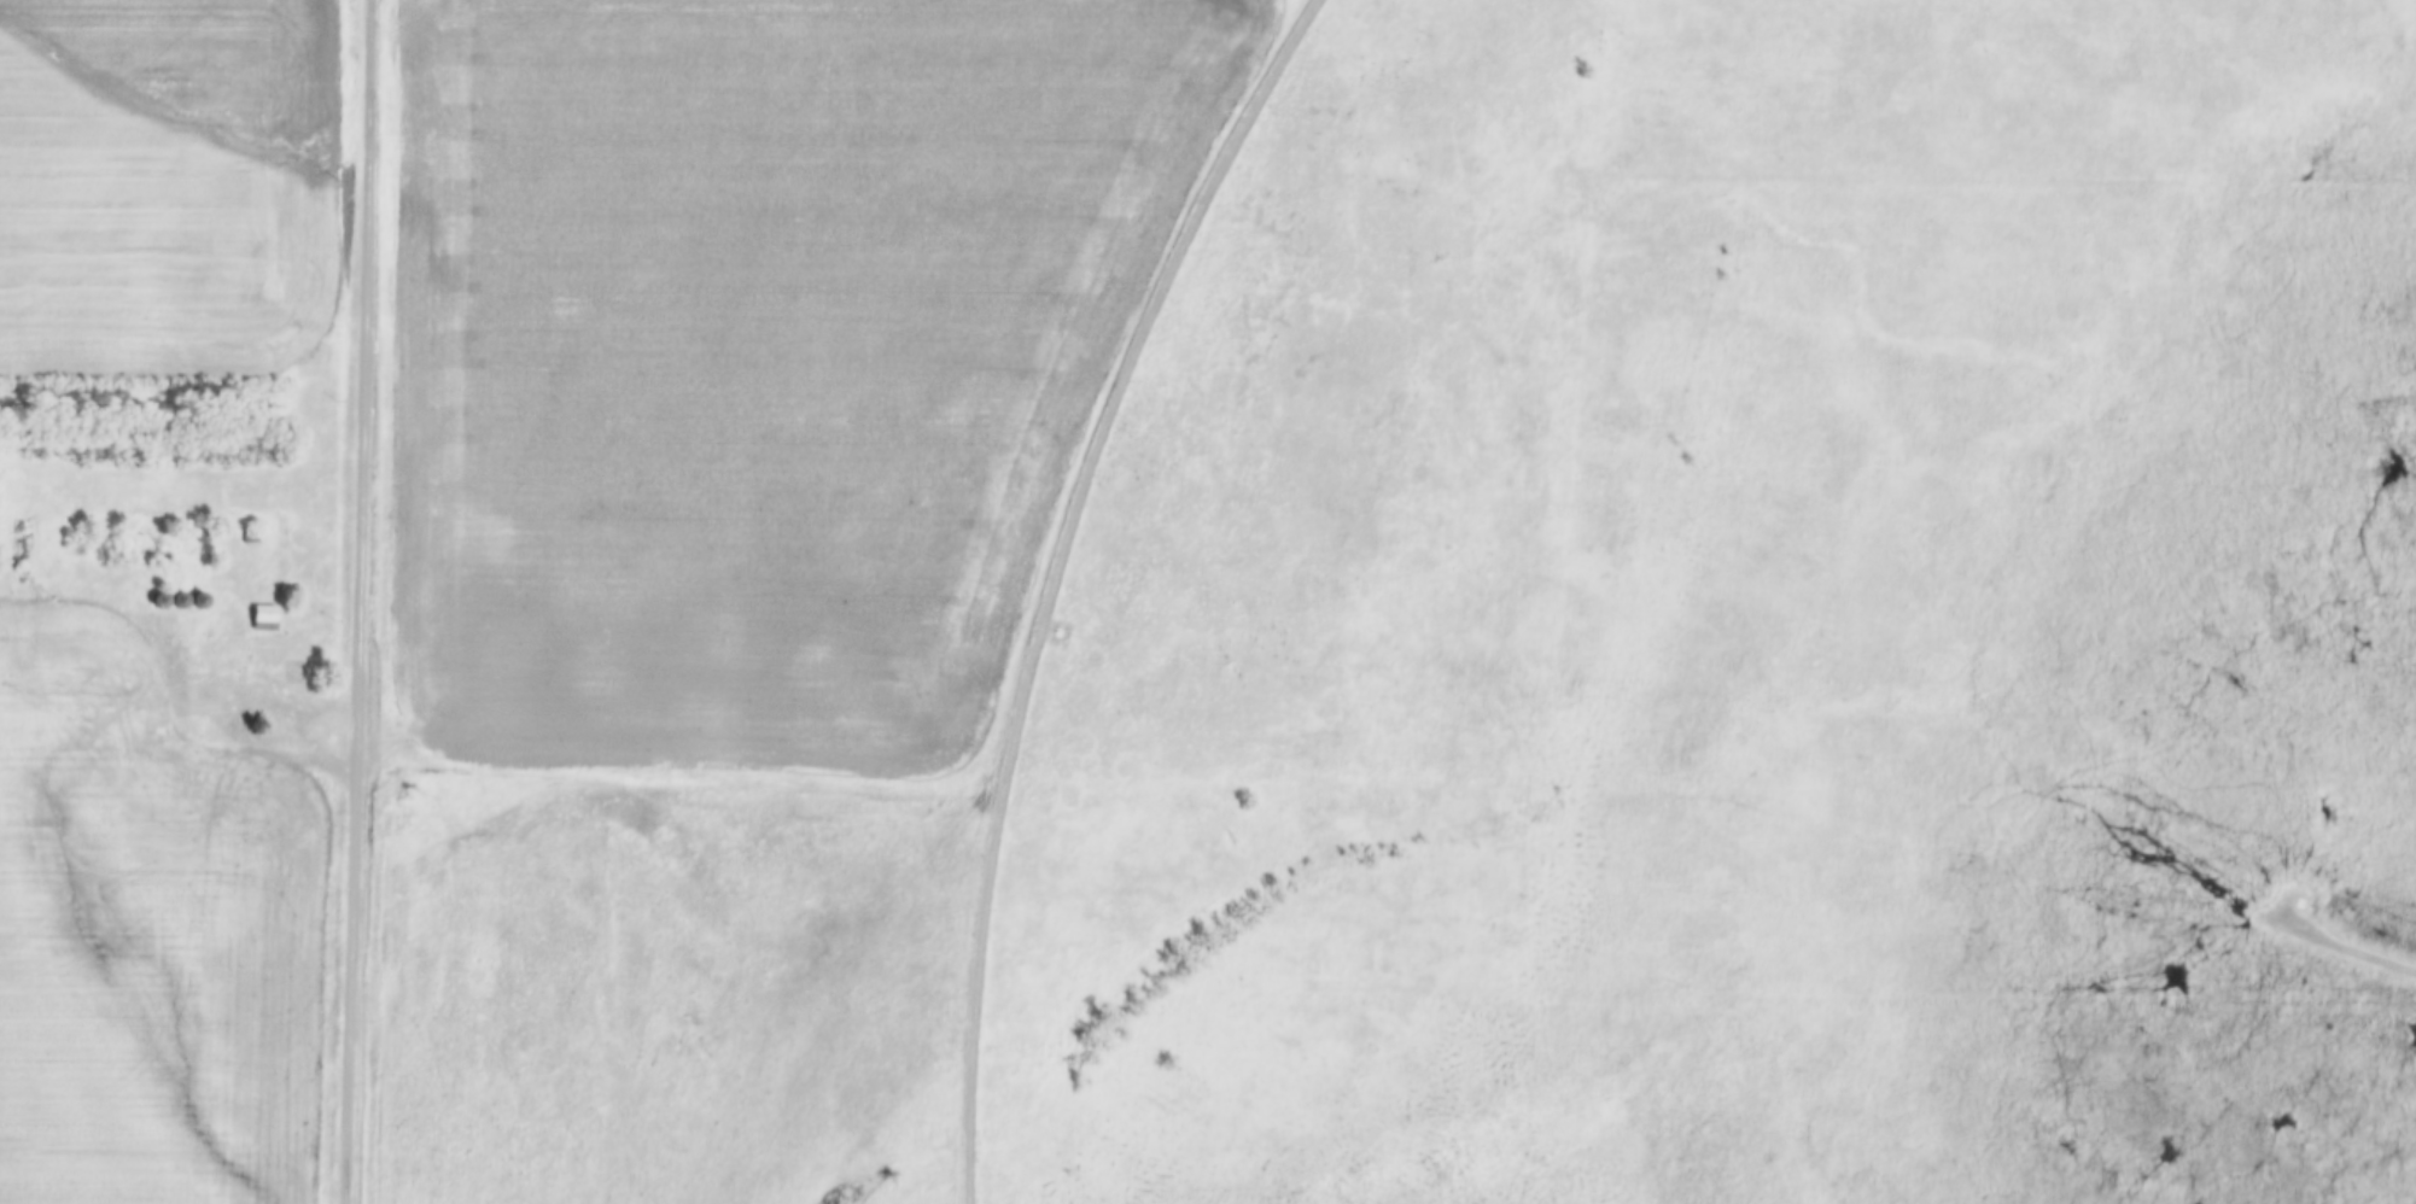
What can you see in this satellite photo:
building: (253, 533)
building: (208, 536)
road: (1063, 577)
building: (162, 600)
silo: (162, 600)
building: (182, 600)
silo: (182, 600)
building: (203, 600)
silo: (203, 600)
building: (196, 602)
road: (362, 602)
building: (176, 606)
building: (267, 618)
road: (221, 720)
road: (2338, 948)

